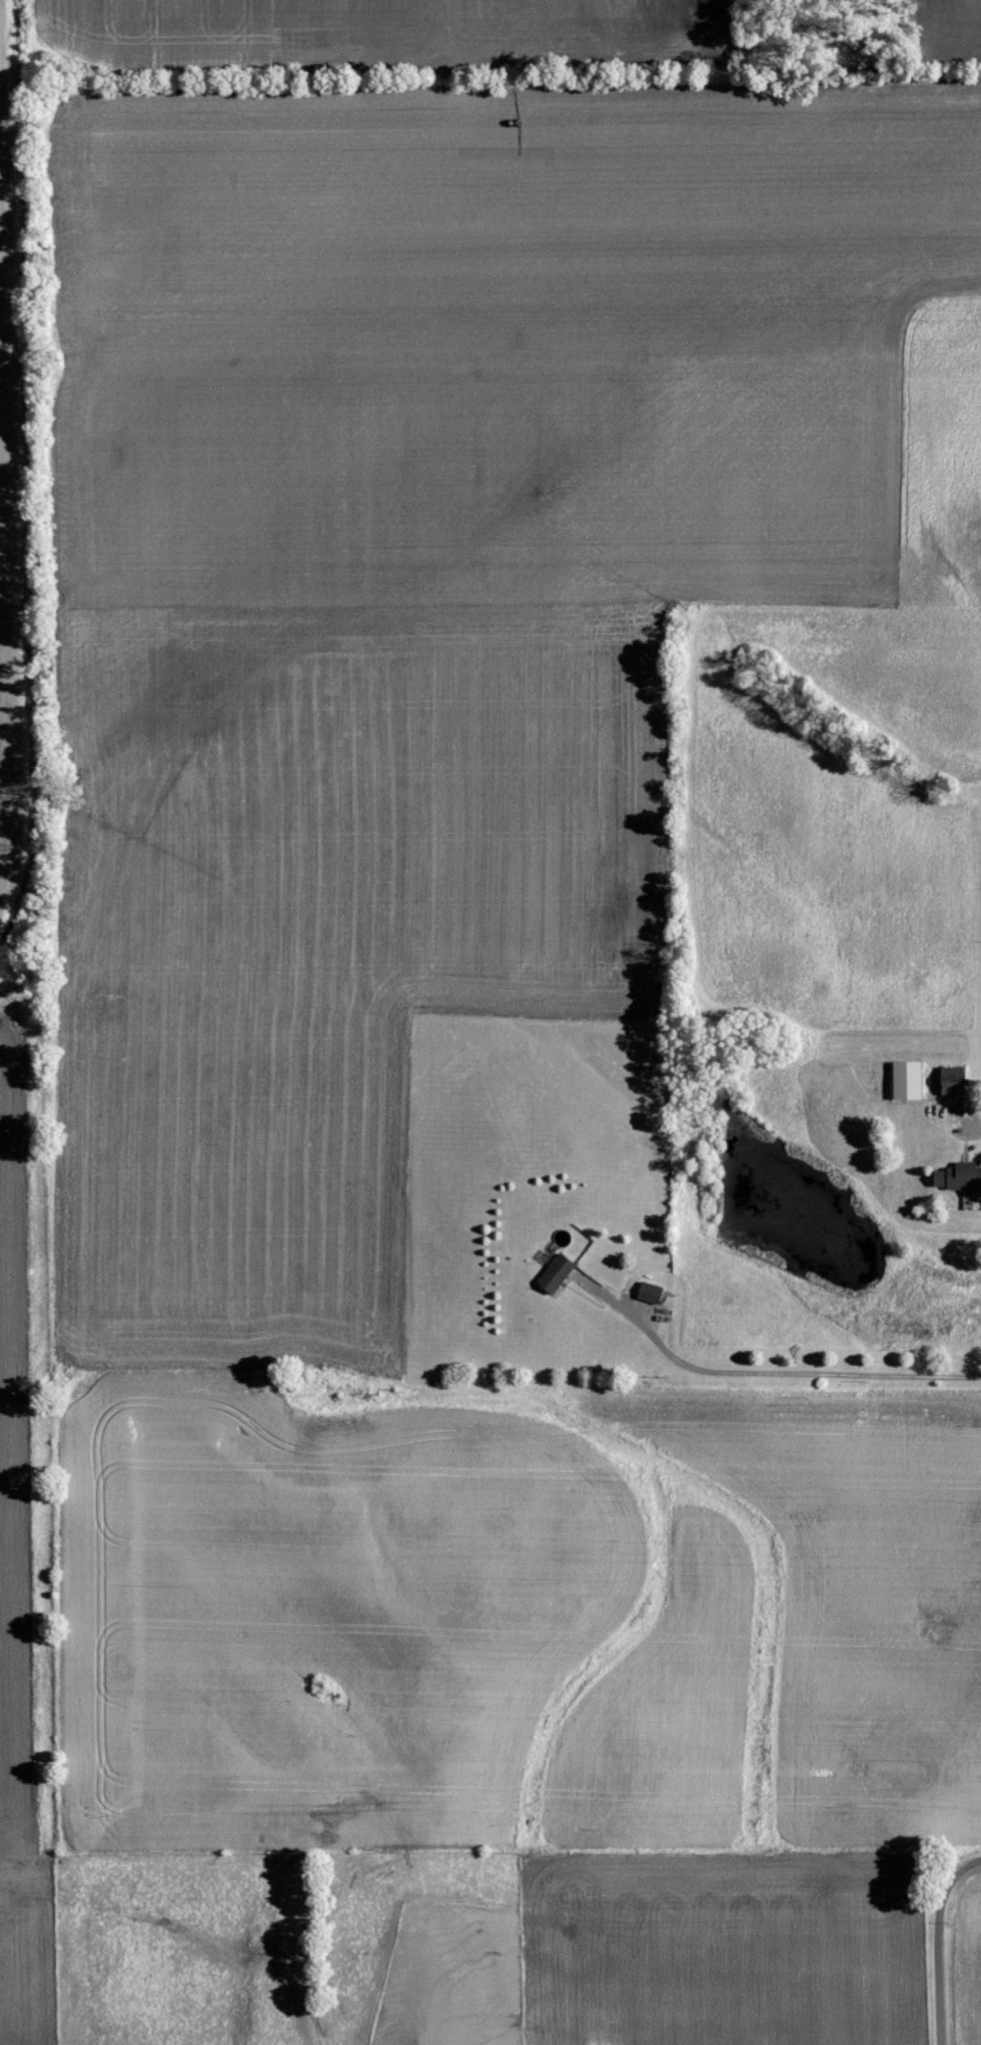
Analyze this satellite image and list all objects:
building: (909, 1081)
building: (956, 1081)
road: (974, 1132)
building: (960, 1177)
building: (558, 1274)
building: (651, 1292)
road: (773, 1373)
road: (938, 1941)

